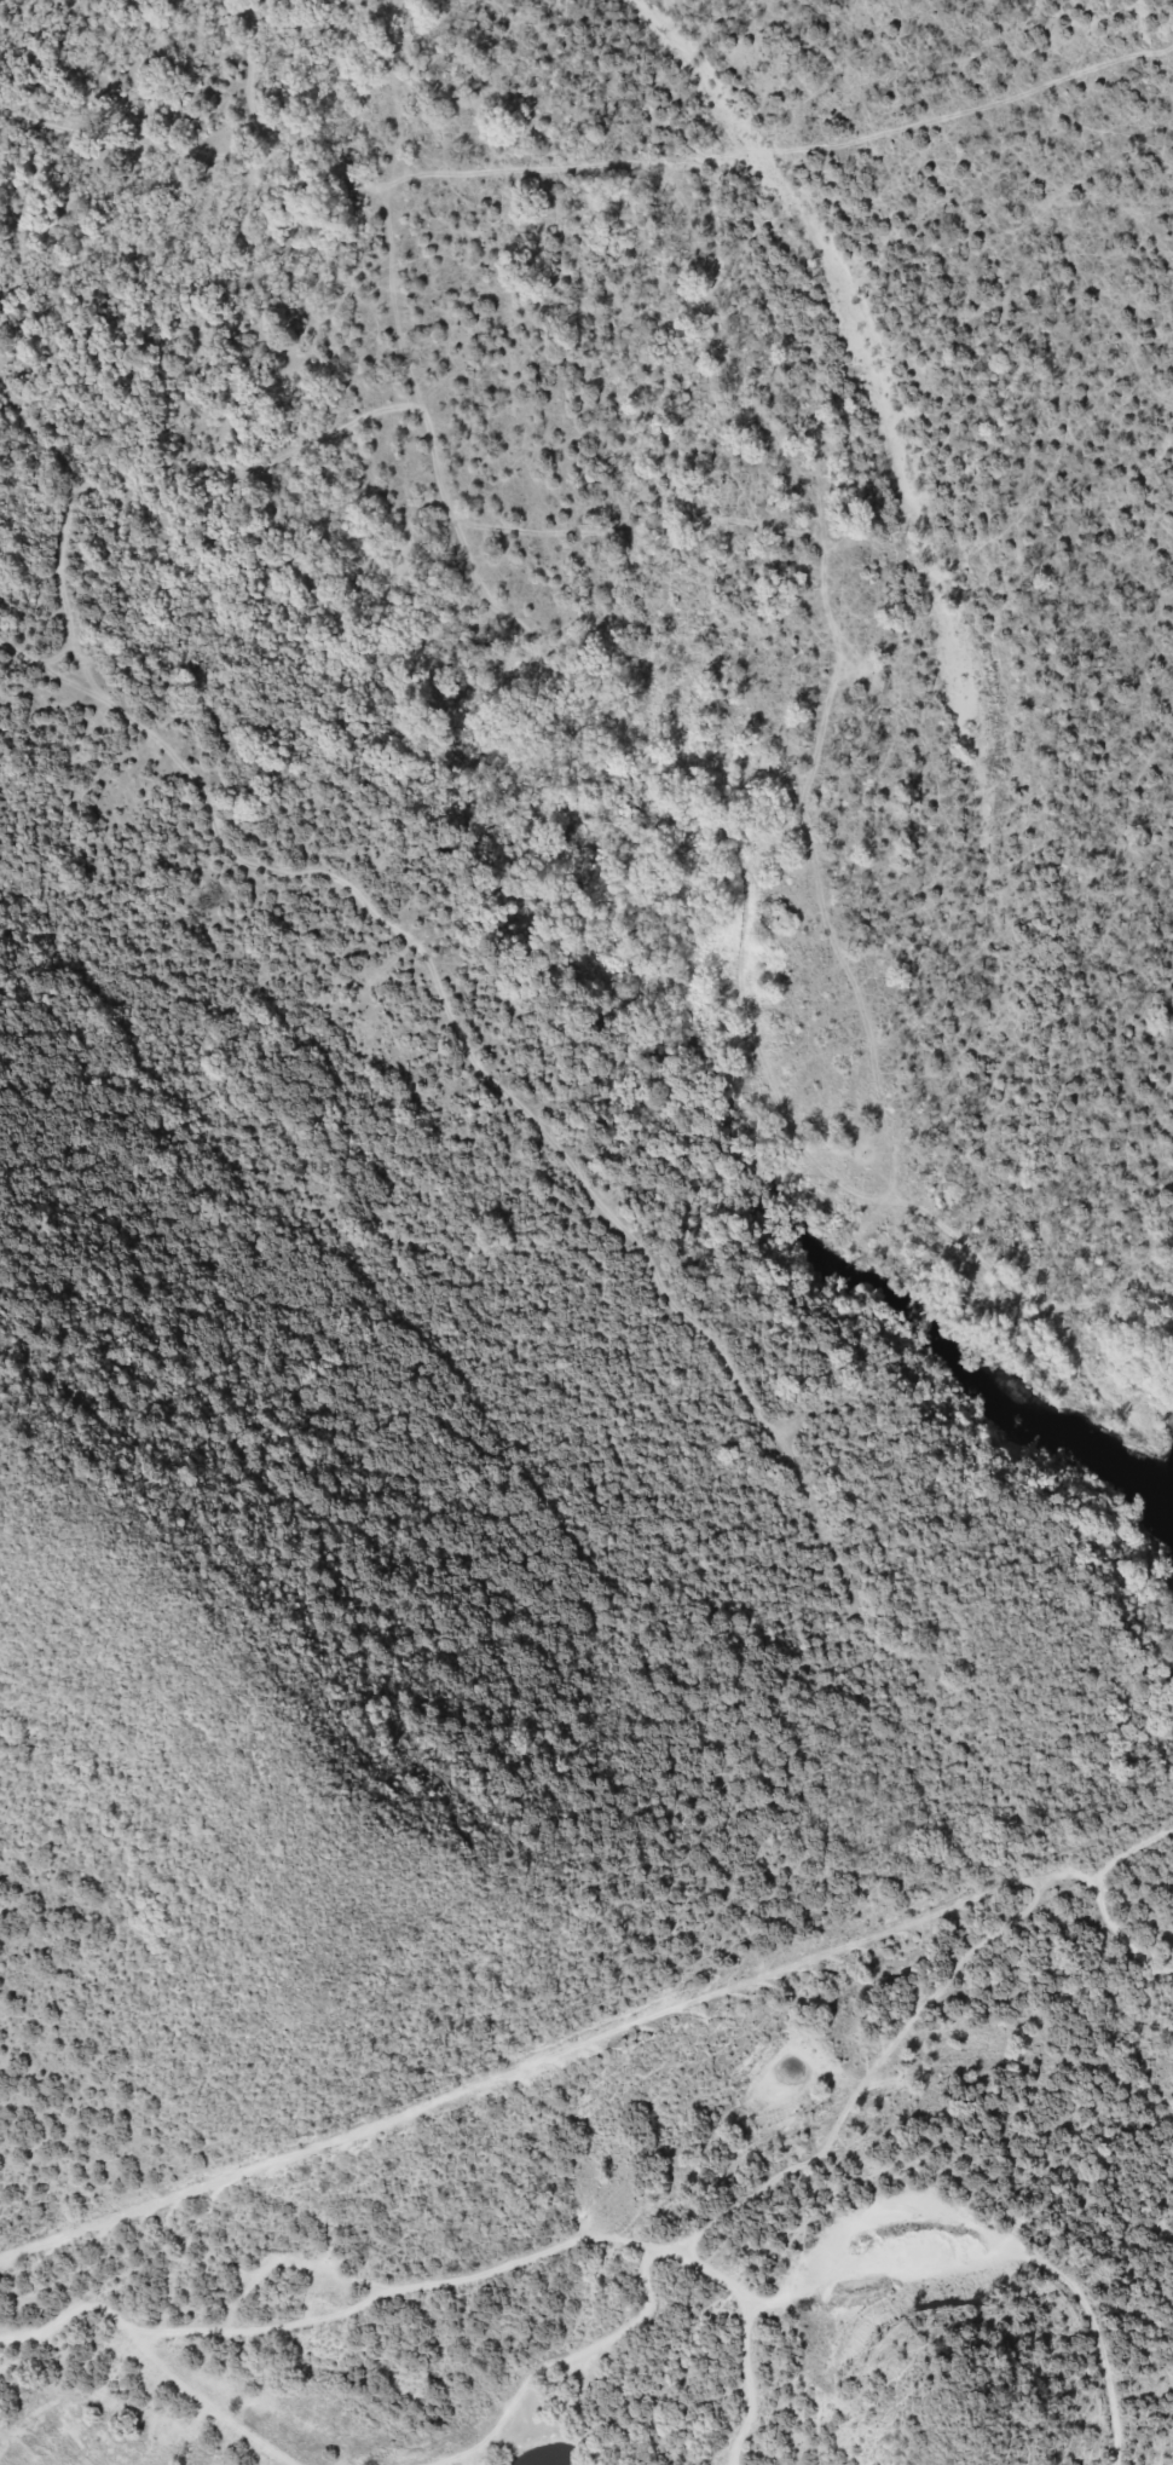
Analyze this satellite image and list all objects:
road: (469, 39)

